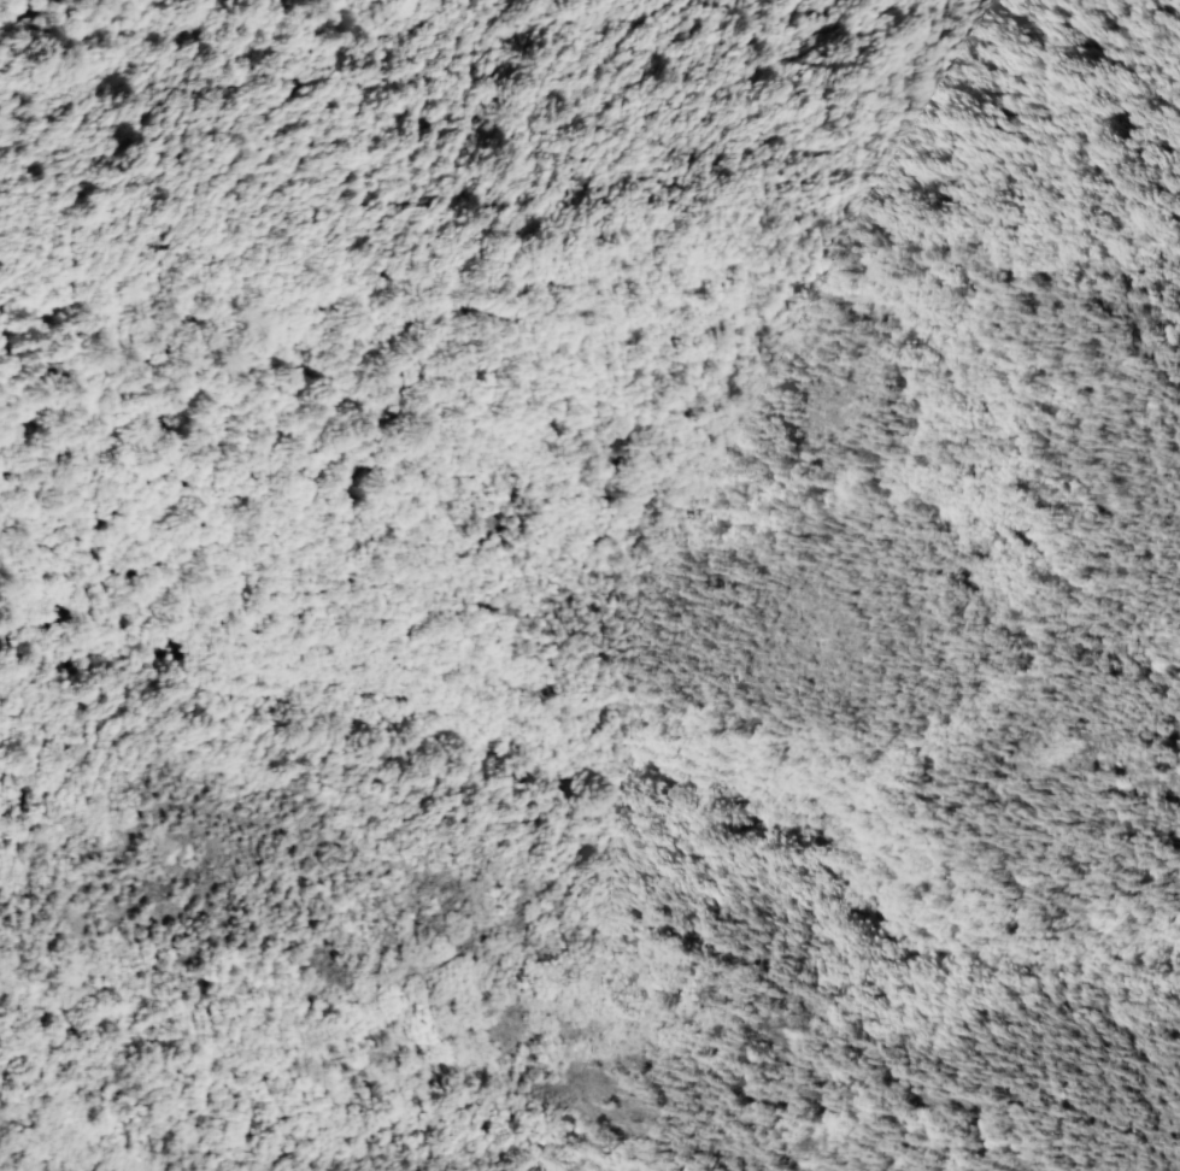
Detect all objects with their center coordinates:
road: (595, 930)

